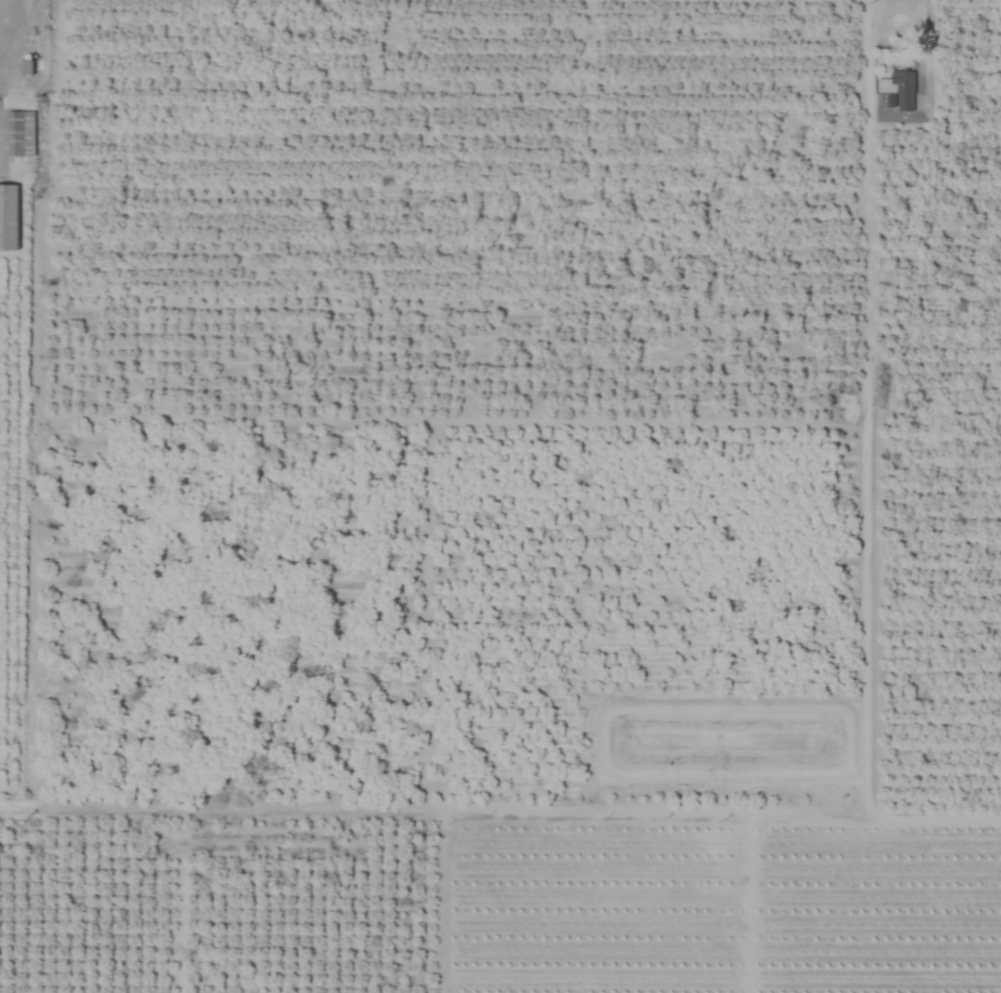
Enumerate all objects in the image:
road: (924, 48)
building: (902, 90)
building: (20, 133)
building: (9, 217)

